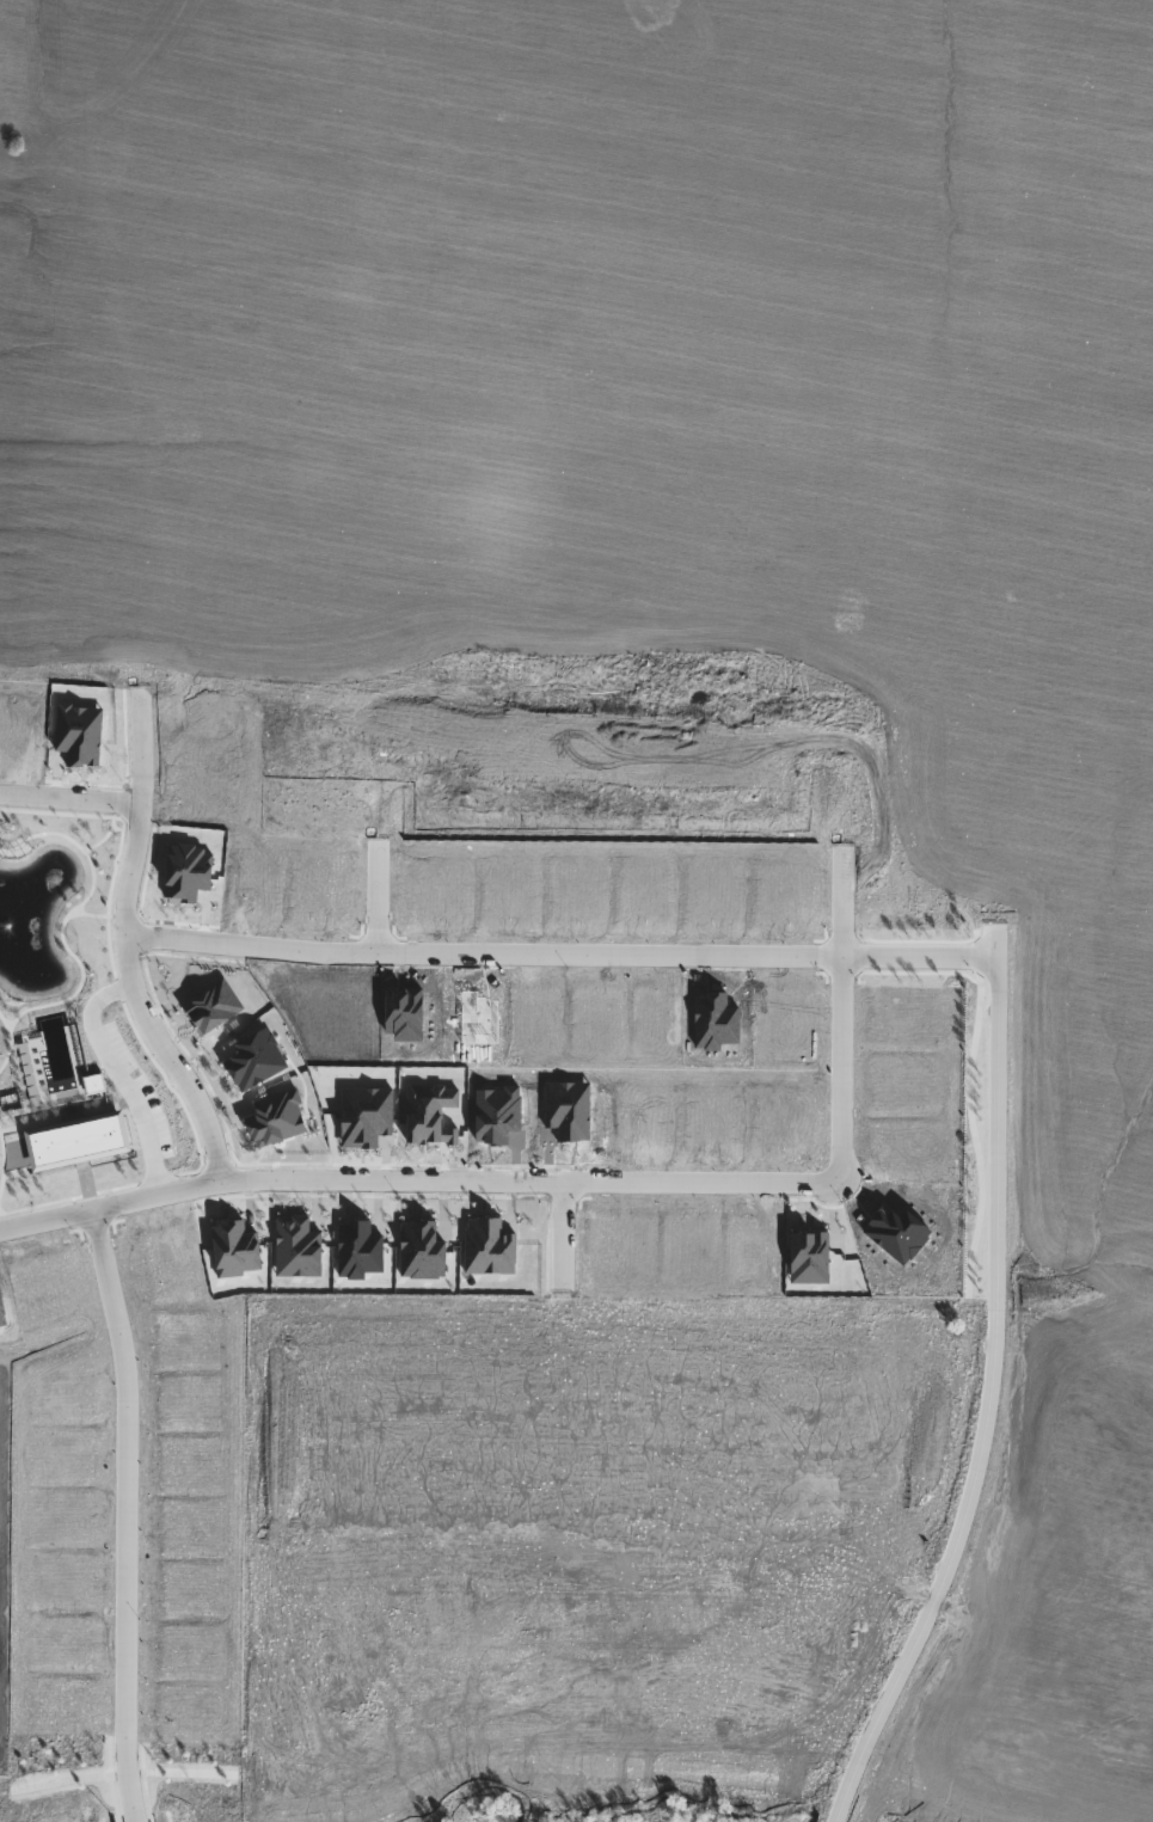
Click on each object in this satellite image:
crop: (660, 542)
building: (78, 734)
road: (72, 802)
road: (114, 830)
road: (123, 840)
road: (100, 843)
road: (76, 845)
building: (184, 873)
road: (380, 901)
road: (125, 919)
road: (145, 939)
road: (129, 950)
road: (563, 957)
road: (84, 971)
road: (121, 992)
building: (213, 1006)
road: (842, 1017)
road: (11, 1044)
building: (253, 1059)
road: (122, 1078)
building: (94, 1081)
parking lot: (135, 1093)
road: (177, 1094)
building: (569, 1106)
building: (497, 1112)
building: (364, 1116)
building: (429, 1116)
building: (275, 1117)
road: (228, 1131)
building: (76, 1137)
road: (5, 1168)
road: (158, 1182)
road: (417, 1183)
road: (69, 1201)
road: (563, 1238)
building: (298, 1246)
building: (487, 1246)
building: (234, 1247)
building: (356, 1247)
building: (421, 1250)
road: (992, 1389)
road: (128, 1515)

